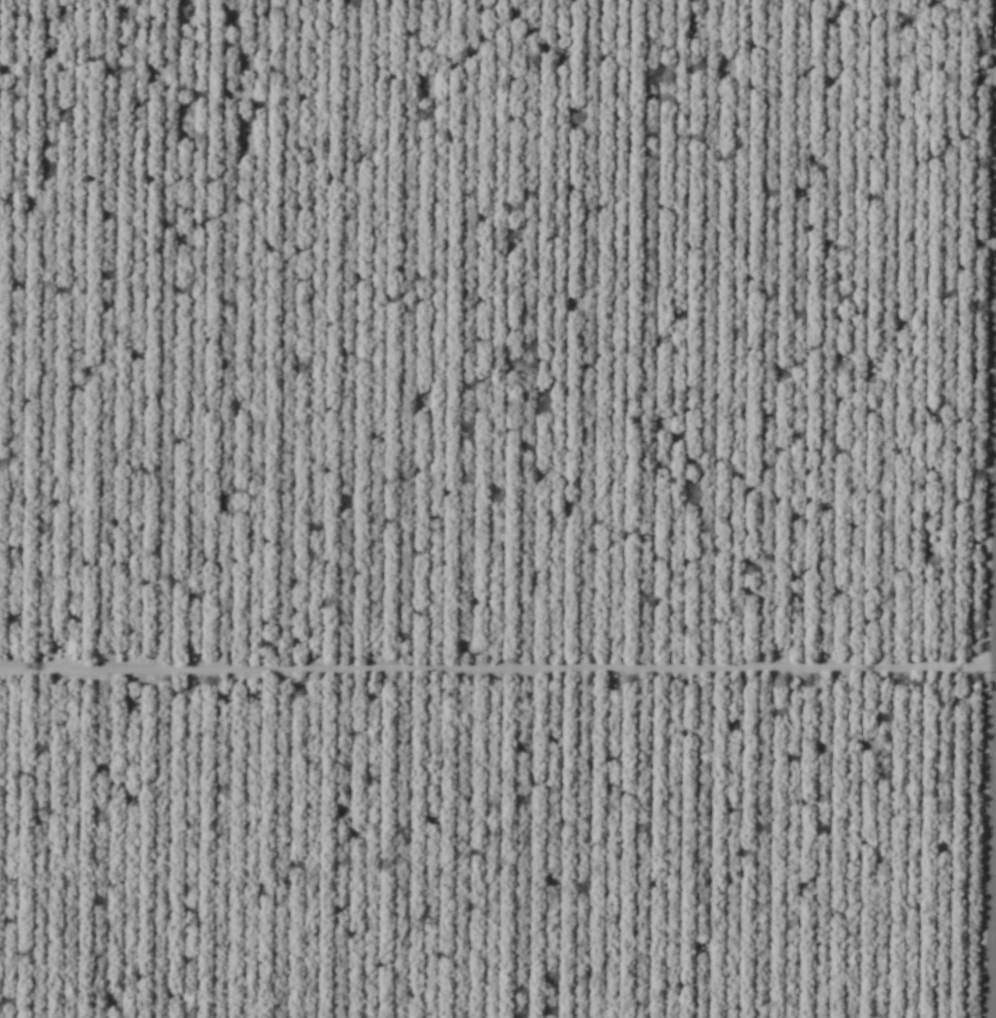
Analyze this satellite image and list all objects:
crop: (498, 509)
road: (995, 964)

